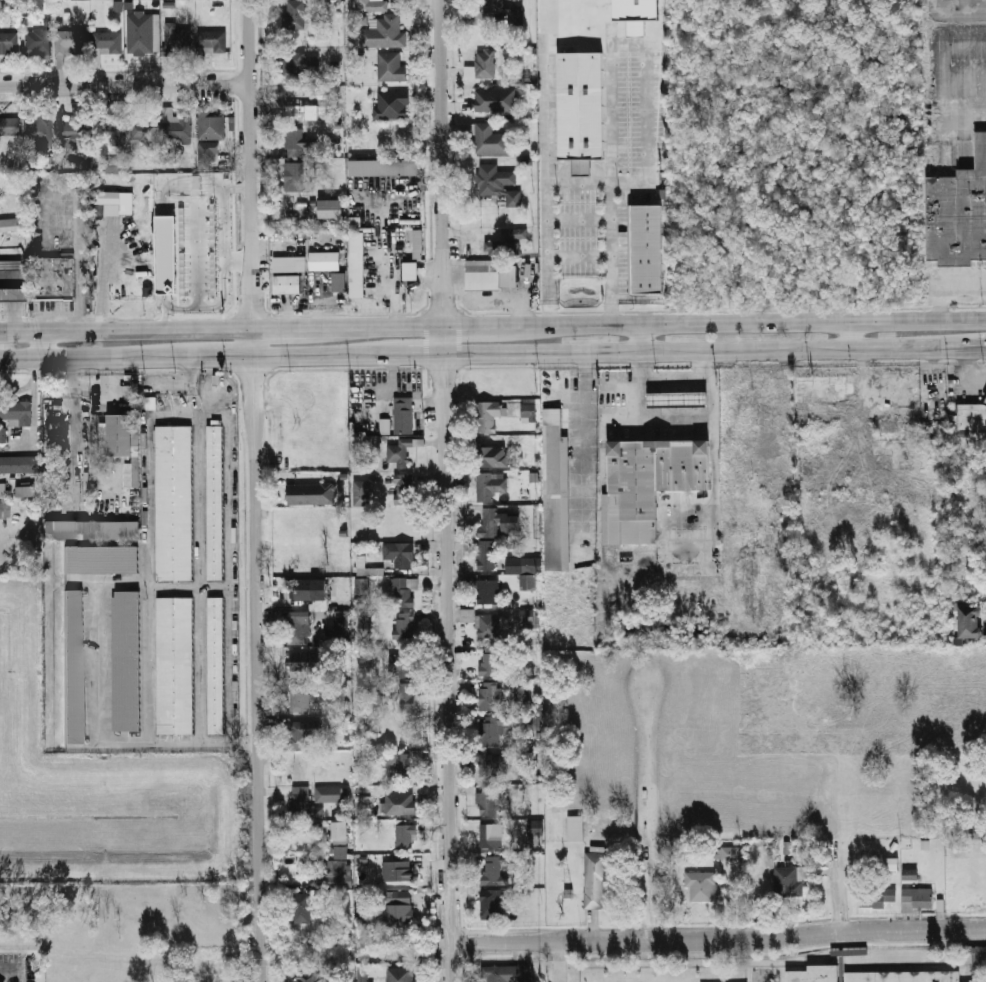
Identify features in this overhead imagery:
building: (369, 5)
building: (510, 11)
building: (295, 14)
building: (635, 14)
building: (140, 33)
building: (383, 33)
building: (212, 41)
building: (107, 42)
building: (178, 42)
building: (9, 43)
building: (38, 43)
building: (68, 44)
building: (482, 66)
building: (299, 67)
building: (391, 67)
road: (123, 85)
building: (495, 100)
building: (580, 104)
building: (392, 105)
building: (210, 124)
building: (176, 126)
building: (9, 127)
building: (113, 130)
building: (39, 131)
building: (143, 131)
building: (72, 132)
building: (488, 138)
building: (298, 144)
building: (209, 152)
building: (580, 165)
building: (113, 166)
building: (384, 167)
building: (294, 178)
road: (578, 180)
building: (498, 184)
building: (109, 196)
building: (313, 206)
building: (956, 207)
building: (330, 209)
parking lot: (51, 213)
building: (10, 226)
building: (514, 233)
building: (418, 244)
building: (647, 248)
building: (508, 249)
building: (325, 261)
building: (291, 264)
building: (9, 265)
building: (358, 265)
building: (412, 271)
parking lot: (85, 272)
building: (484, 277)
building: (50, 278)
building: (339, 283)
building: (288, 284)
road: (950, 290)
building: (12, 295)
parking lot: (52, 308)
road: (761, 323)
road: (492, 326)
road: (291, 328)
road: (389, 328)
road: (125, 330)
road: (853, 335)
road: (640, 337)
road: (46, 344)
road: (716, 348)
road: (404, 352)
road: (306, 353)
road: (207, 355)
road: (82, 357)
road: (677, 376)
building: (678, 399)
gas station: (678, 399)
building: (985, 399)
gas station: (985, 399)
building: (15, 412)
building: (528, 413)
building: (404, 415)
building: (971, 415)
building: (487, 416)
road: (659, 417)
building: (384, 426)
building: (120, 434)
building: (2, 437)
building: (399, 453)
building: (492, 457)
building: (18, 465)
building: (132, 469)
road: (448, 469)
building: (651, 482)
building: (490, 485)
road: (253, 490)
building: (25, 491)
building: (4, 492)
building: (360, 493)
building: (557, 493)
building: (311, 494)
building: (403, 498)
road: (714, 501)
building: (174, 502)
building: (215, 502)
building: (5, 510)
building: (489, 522)
building: (509, 523)
building: (92, 530)
building: (400, 554)
building: (487, 555)
building: (102, 562)
building: (523, 565)
building: (527, 582)
building: (361, 586)
building: (307, 589)
building: (404, 591)
building: (487, 592)
building: (528, 619)
building: (970, 623)
building: (491, 625)
building: (342, 626)
building: (299, 627)
building: (364, 627)
building: (405, 627)
building: (985, 634)
building: (305, 661)
building: (403, 662)
building: (127, 663)
building: (490, 664)
building: (216, 665)
building: (175, 666)
building: (75, 667)
building: (521, 690)
building: (490, 697)
building: (300, 698)
building: (407, 698)
building: (530, 723)
building: (492, 729)
building: (302, 733)
building: (405, 765)
building: (492, 765)
building: (330, 794)
road: (643, 799)
building: (488, 801)
building: (500, 801)
building: (303, 804)
building: (400, 804)
building: (575, 828)
building: (535, 832)
building: (340, 833)
building: (971, 833)
building: (404, 836)
building: (491, 836)
road: (837, 849)
building: (728, 854)
building: (890, 864)
building: (337, 870)
building: (494, 870)
building: (397, 872)
building: (910, 875)
building: (595, 880)
building: (789, 881)
building: (700, 886)
building: (877, 897)
building: (918, 899)
building: (492, 904)
building: (300, 908)
building: (399, 909)
road: (720, 936)
building: (979, 949)
road: (455, 960)
road: (561, 960)
road: (15, 968)
parking lot: (17, 968)
building: (505, 973)
building: (813, 974)
building: (362, 975)
building: (402, 975)
building: (902, 976)
building: (311, 978)

